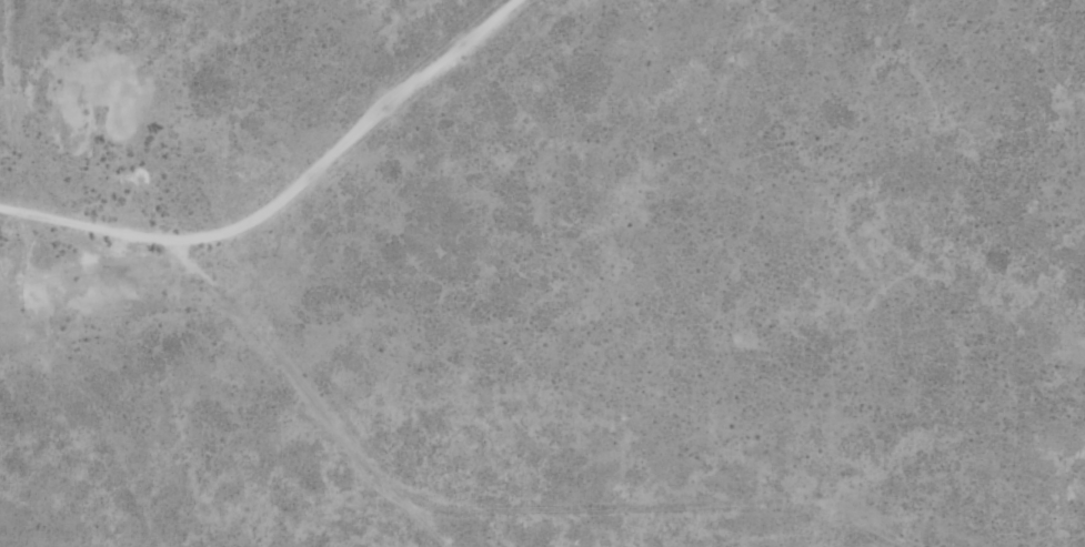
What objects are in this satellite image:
road: (292, 244)
road: (144, 247)
road: (854, 273)

